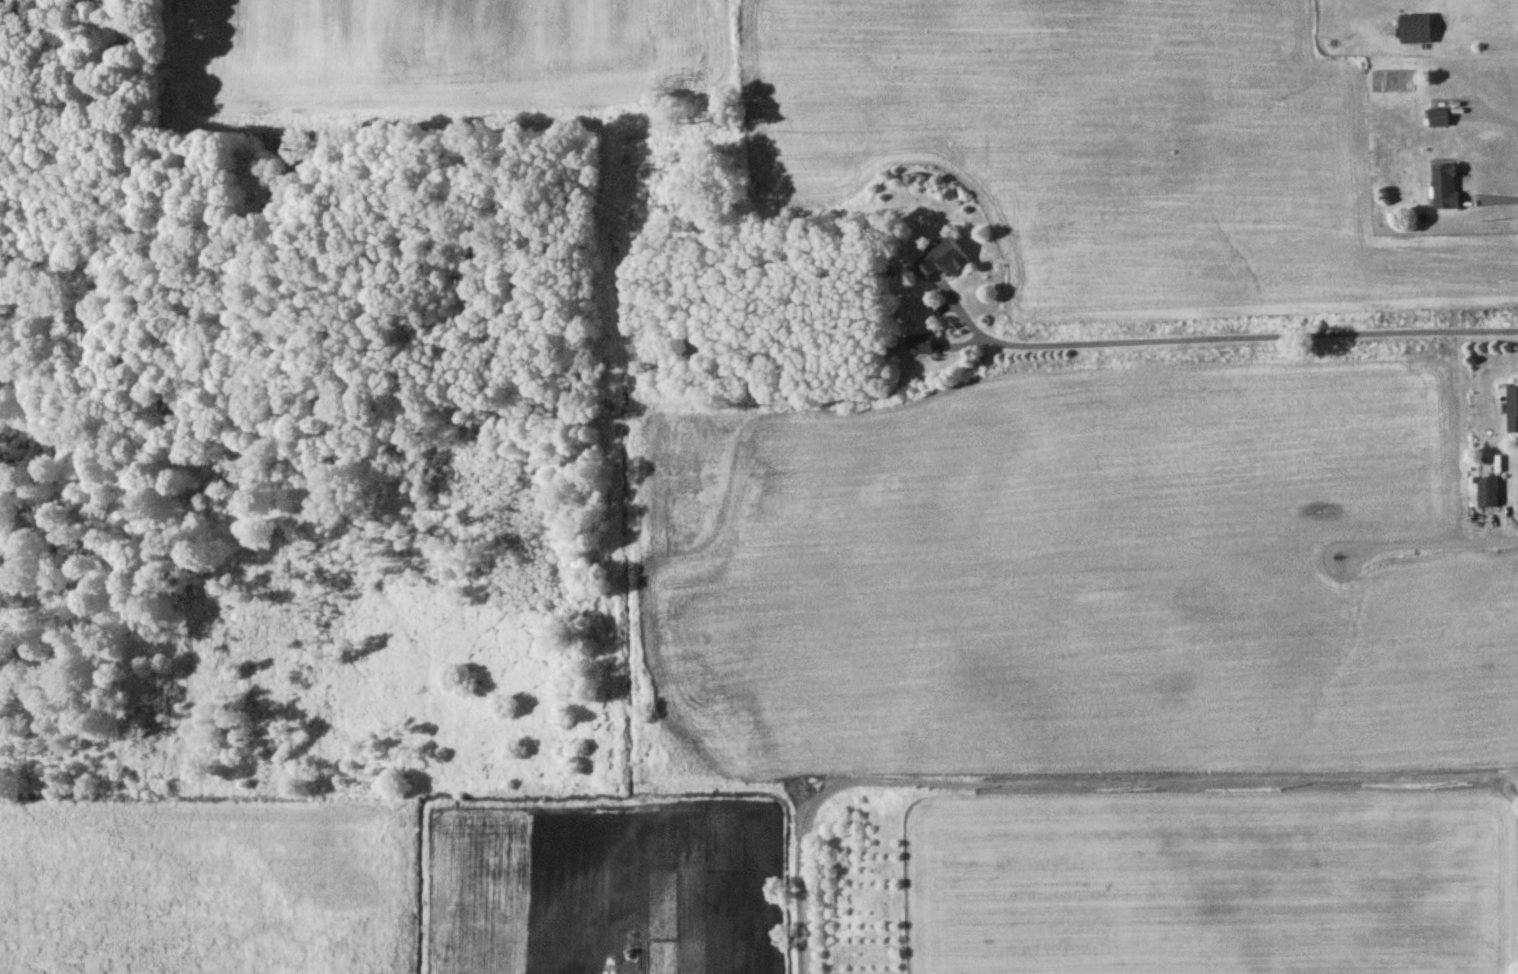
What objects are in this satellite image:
building: (1416, 32)
building: (1440, 120)
road: (1501, 187)
building: (1448, 189)
building: (944, 263)
road: (1218, 337)
building: (920, 346)
building: (1512, 412)
building: (1487, 494)
road: (1441, 532)
road: (1080, 785)

